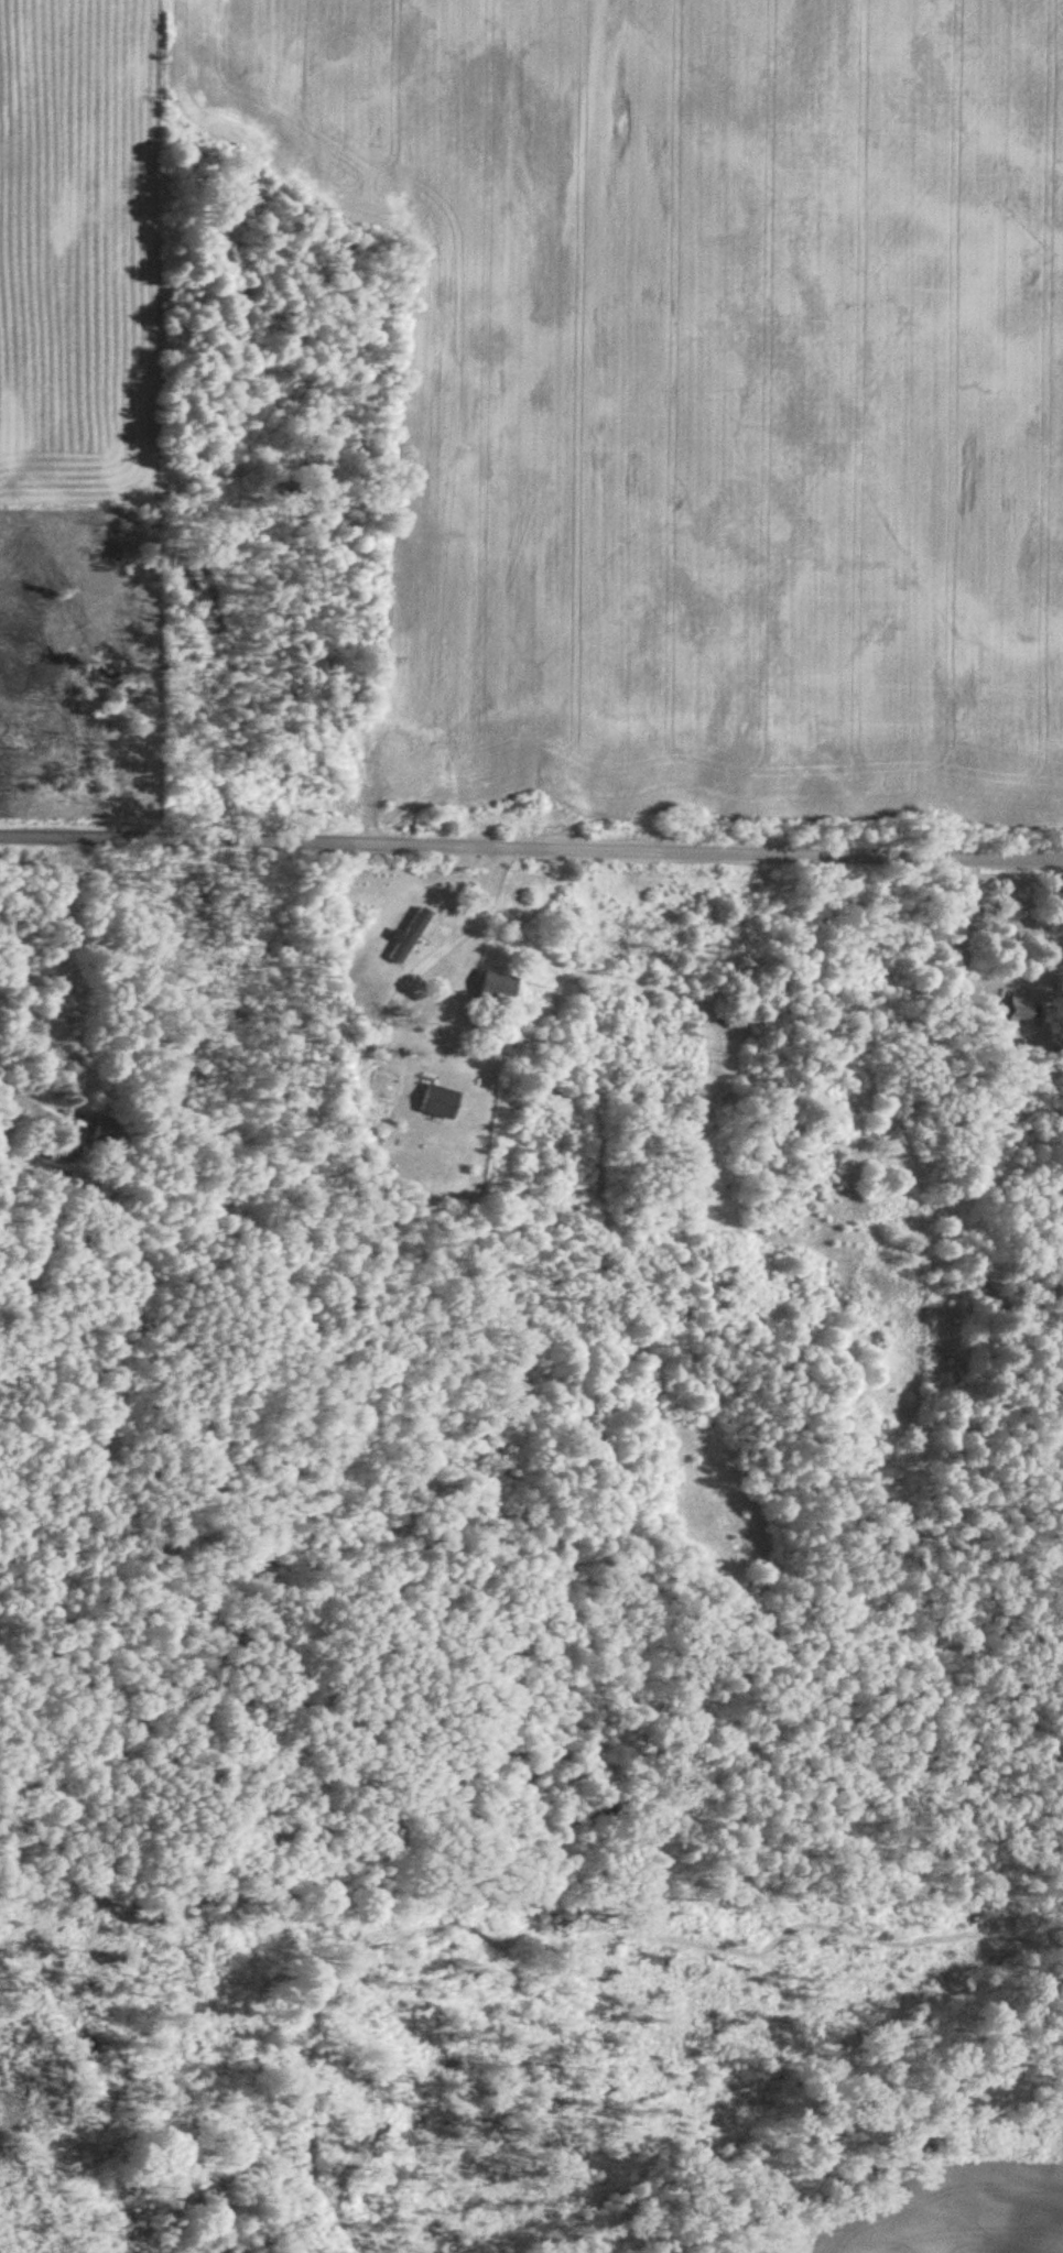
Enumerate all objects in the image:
road: (531, 829)
road: (481, 912)
building: (409, 936)
building: (497, 987)
building: (1021, 1009)
building: (440, 1101)
building: (109, 1130)

